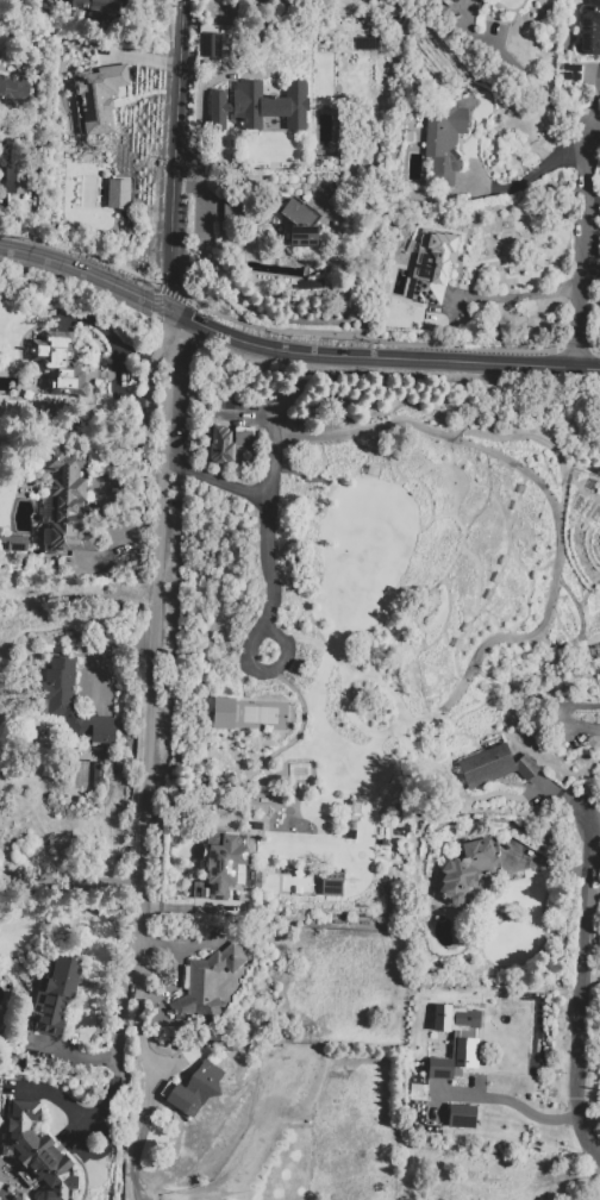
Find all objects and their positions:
building: (454, 0)
building: (456, 0)
building: (98, 5)
building: (589, 27)
building: (211, 45)
road: (527, 80)
building: (15, 87)
building: (98, 98)
building: (260, 106)
road: (594, 112)
road: (594, 130)
building: (444, 140)
road: (174, 155)
road: (535, 174)
building: (15, 179)
building: (418, 193)
building: (119, 194)
building: (299, 225)
road: (580, 250)
building: (433, 265)
building: (311, 285)
road: (517, 298)
road: (115, 343)
road: (289, 351)
building: (60, 365)
building: (244, 438)
building: (221, 444)
building: (244, 451)
road: (215, 480)
building: (68, 500)
building: (13, 544)
road: (271, 587)
road: (154, 639)
building: (61, 704)
building: (221, 713)
building: (574, 740)
building: (494, 764)
building: (250, 843)
building: (221, 863)
building: (467, 870)
road: (71, 881)
building: (330, 887)
building: (208, 983)
road: (579, 994)
building: (56, 995)
building: (452, 1018)
road: (118, 1020)
building: (465, 1052)
building: (438, 1068)
road: (121, 1083)
building: (193, 1089)
road: (506, 1101)
road: (104, 1106)
building: (460, 1115)
building: (39, 1151)
building: (502, 1181)

